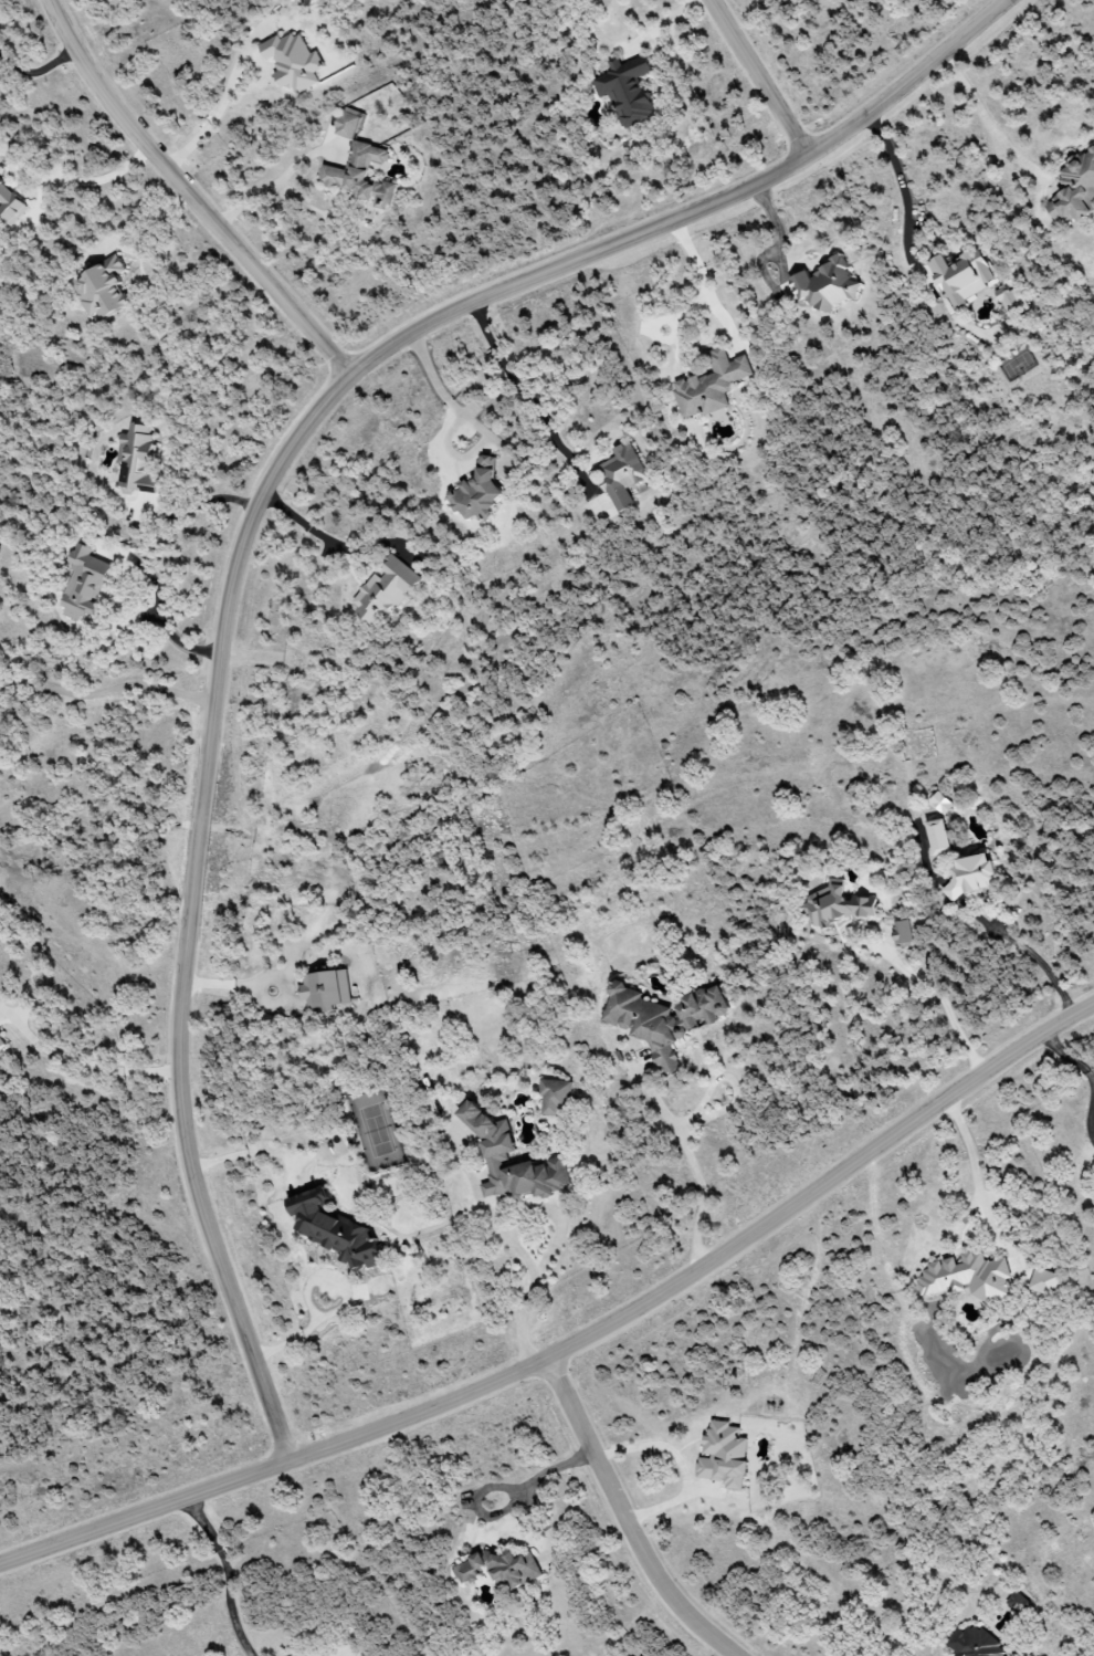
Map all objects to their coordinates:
road: (665, 23)
building: (293, 62)
road: (36, 72)
road: (759, 76)
building: (627, 90)
road: (983, 119)
road: (212, 122)
building: (350, 123)
building: (361, 177)
road: (900, 179)
road: (90, 182)
building: (1074, 191)
road: (189, 196)
building: (10, 206)
road: (133, 252)
building: (961, 276)
road: (704, 284)
building: (824, 286)
building: (103, 289)
building: (1011, 301)
road: (514, 385)
building: (711, 385)
road: (474, 427)
building: (137, 459)
building: (621, 475)
building: (476, 493)
road: (246, 533)
road: (315, 535)
building: (84, 583)
building: (385, 590)
road: (160, 609)
road: (109, 691)
building: (940, 803)
building: (938, 837)
building: (970, 876)
building: (839, 904)
building: (902, 932)
road: (1038, 965)
building: (326, 989)
road: (943, 1003)
building: (661, 1017)
building: (2, 1044)
road: (81, 1063)
road: (1085, 1073)
building: (554, 1097)
building: (497, 1145)
road: (694, 1165)
road: (977, 1183)
building: (333, 1229)
road: (557, 1241)
building: (966, 1277)
building: (1044, 1281)
road: (297, 1339)
road: (576, 1344)
building: (723, 1455)
road: (683, 1461)
road: (533, 1485)
road: (623, 1518)
building: (498, 1569)
road: (229, 1575)
building: (1018, 1603)
building: (972, 1643)

